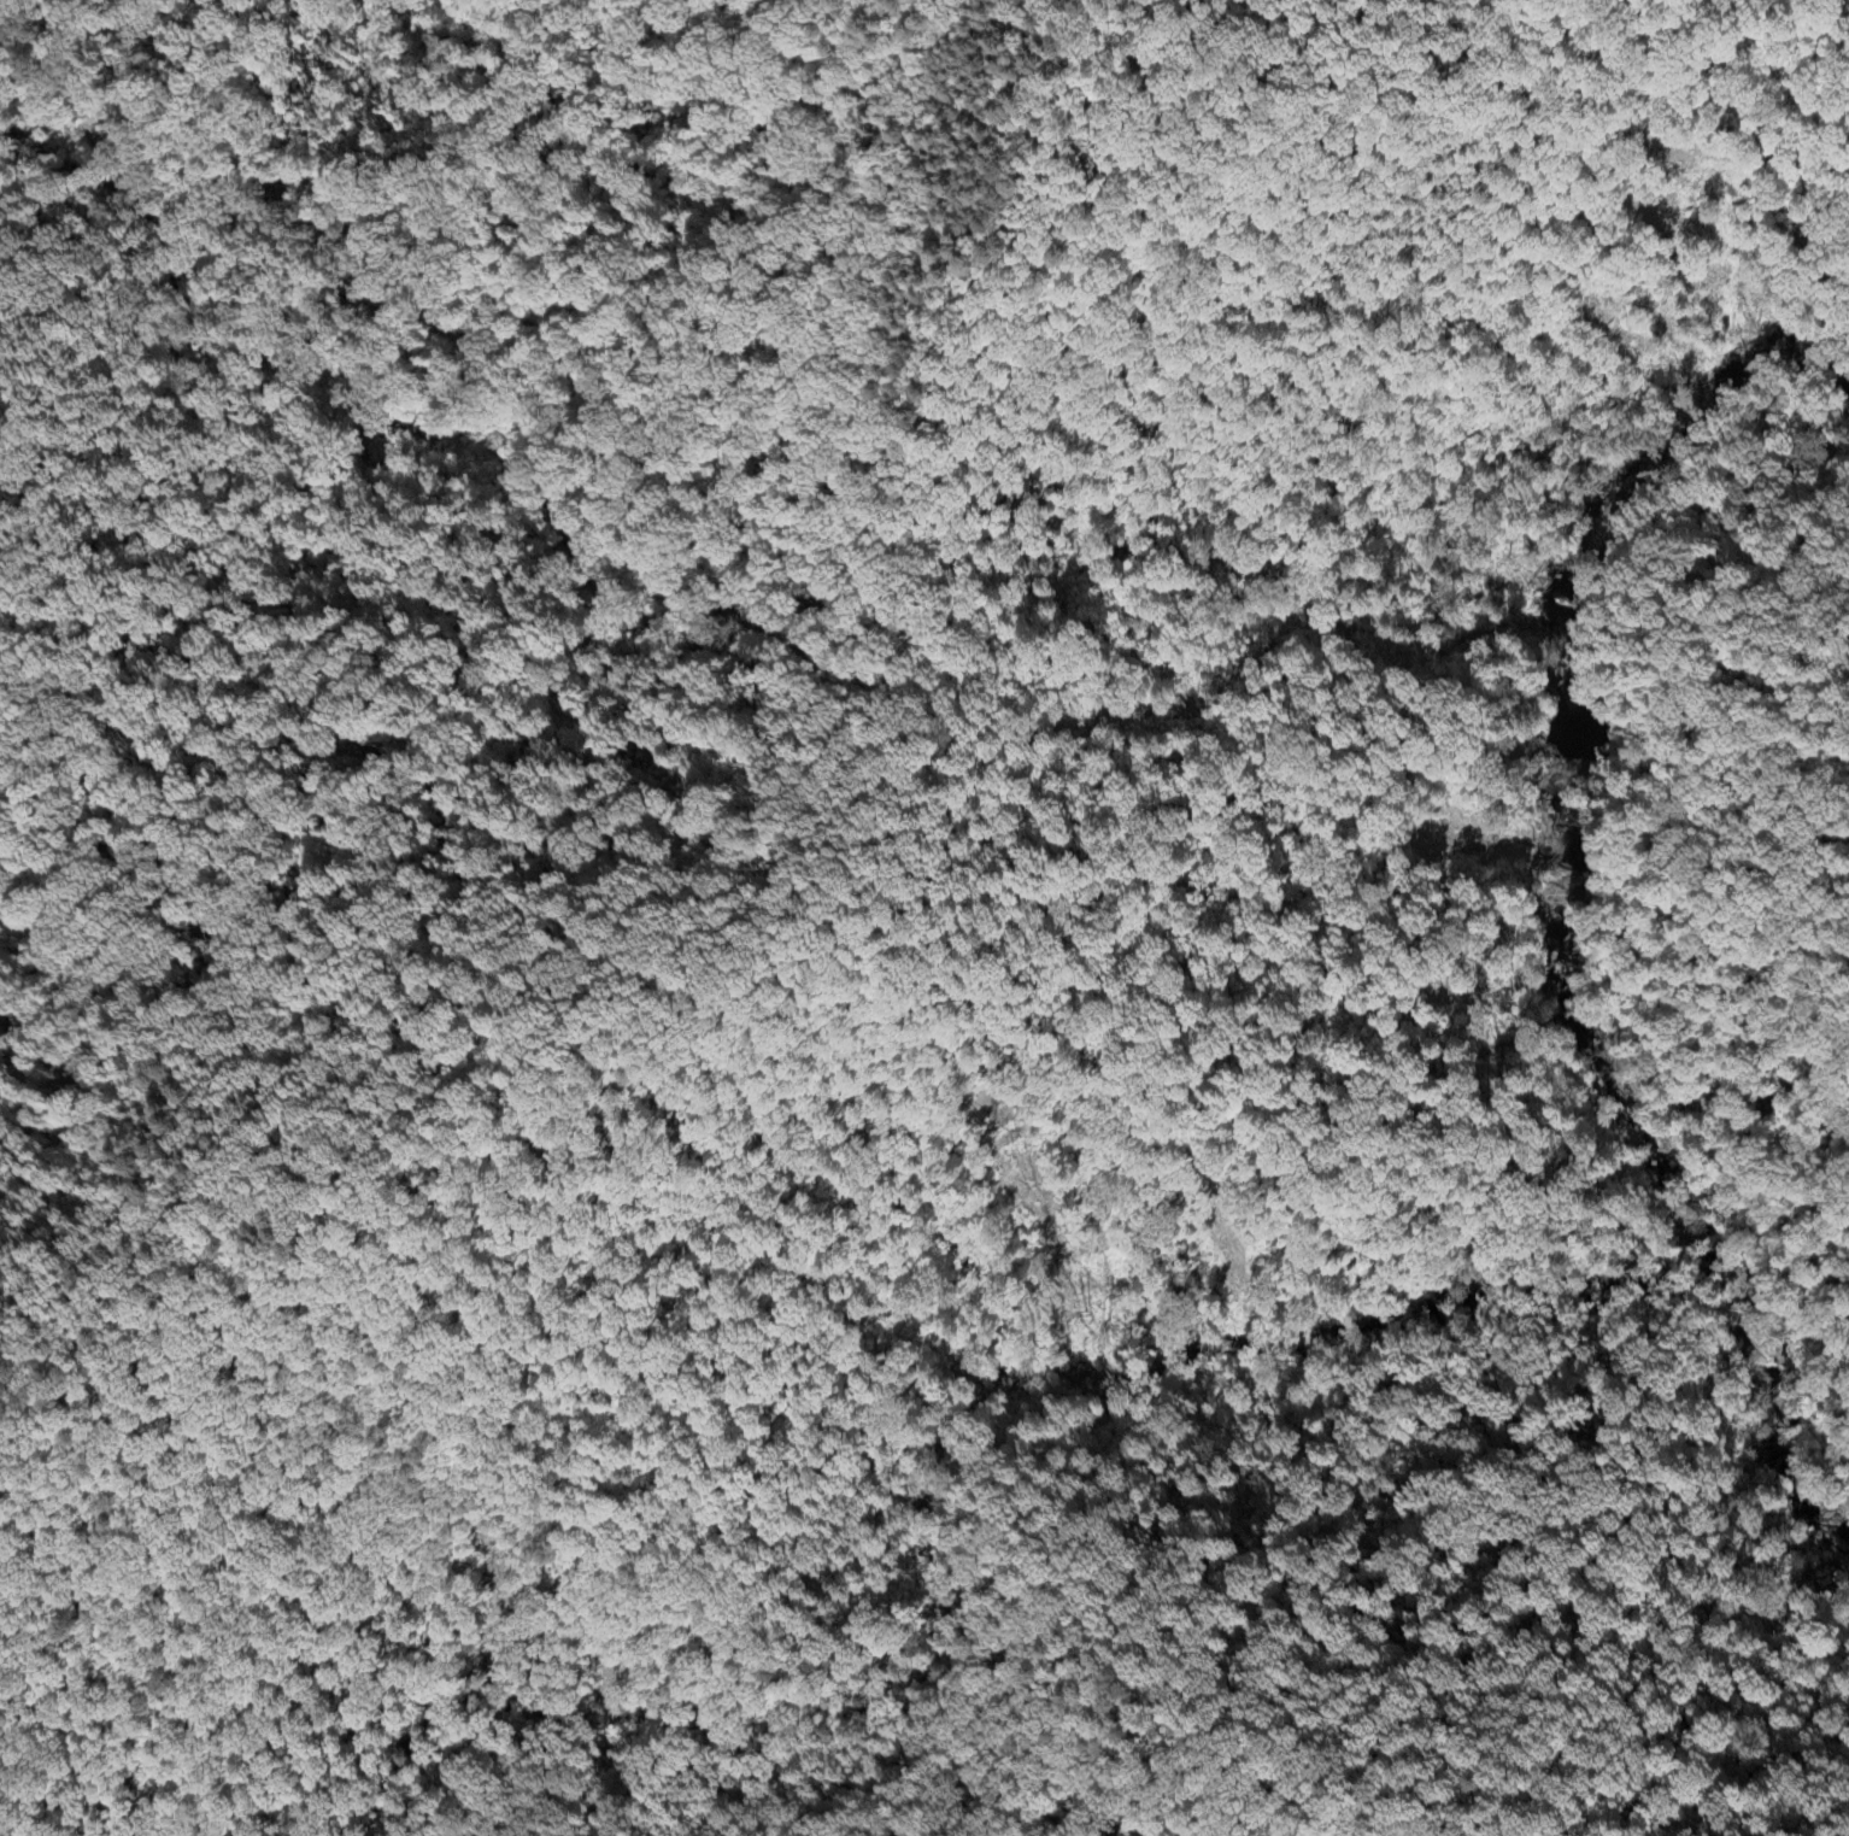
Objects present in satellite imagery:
road: (1655, 714)
road: (1779, 1292)

